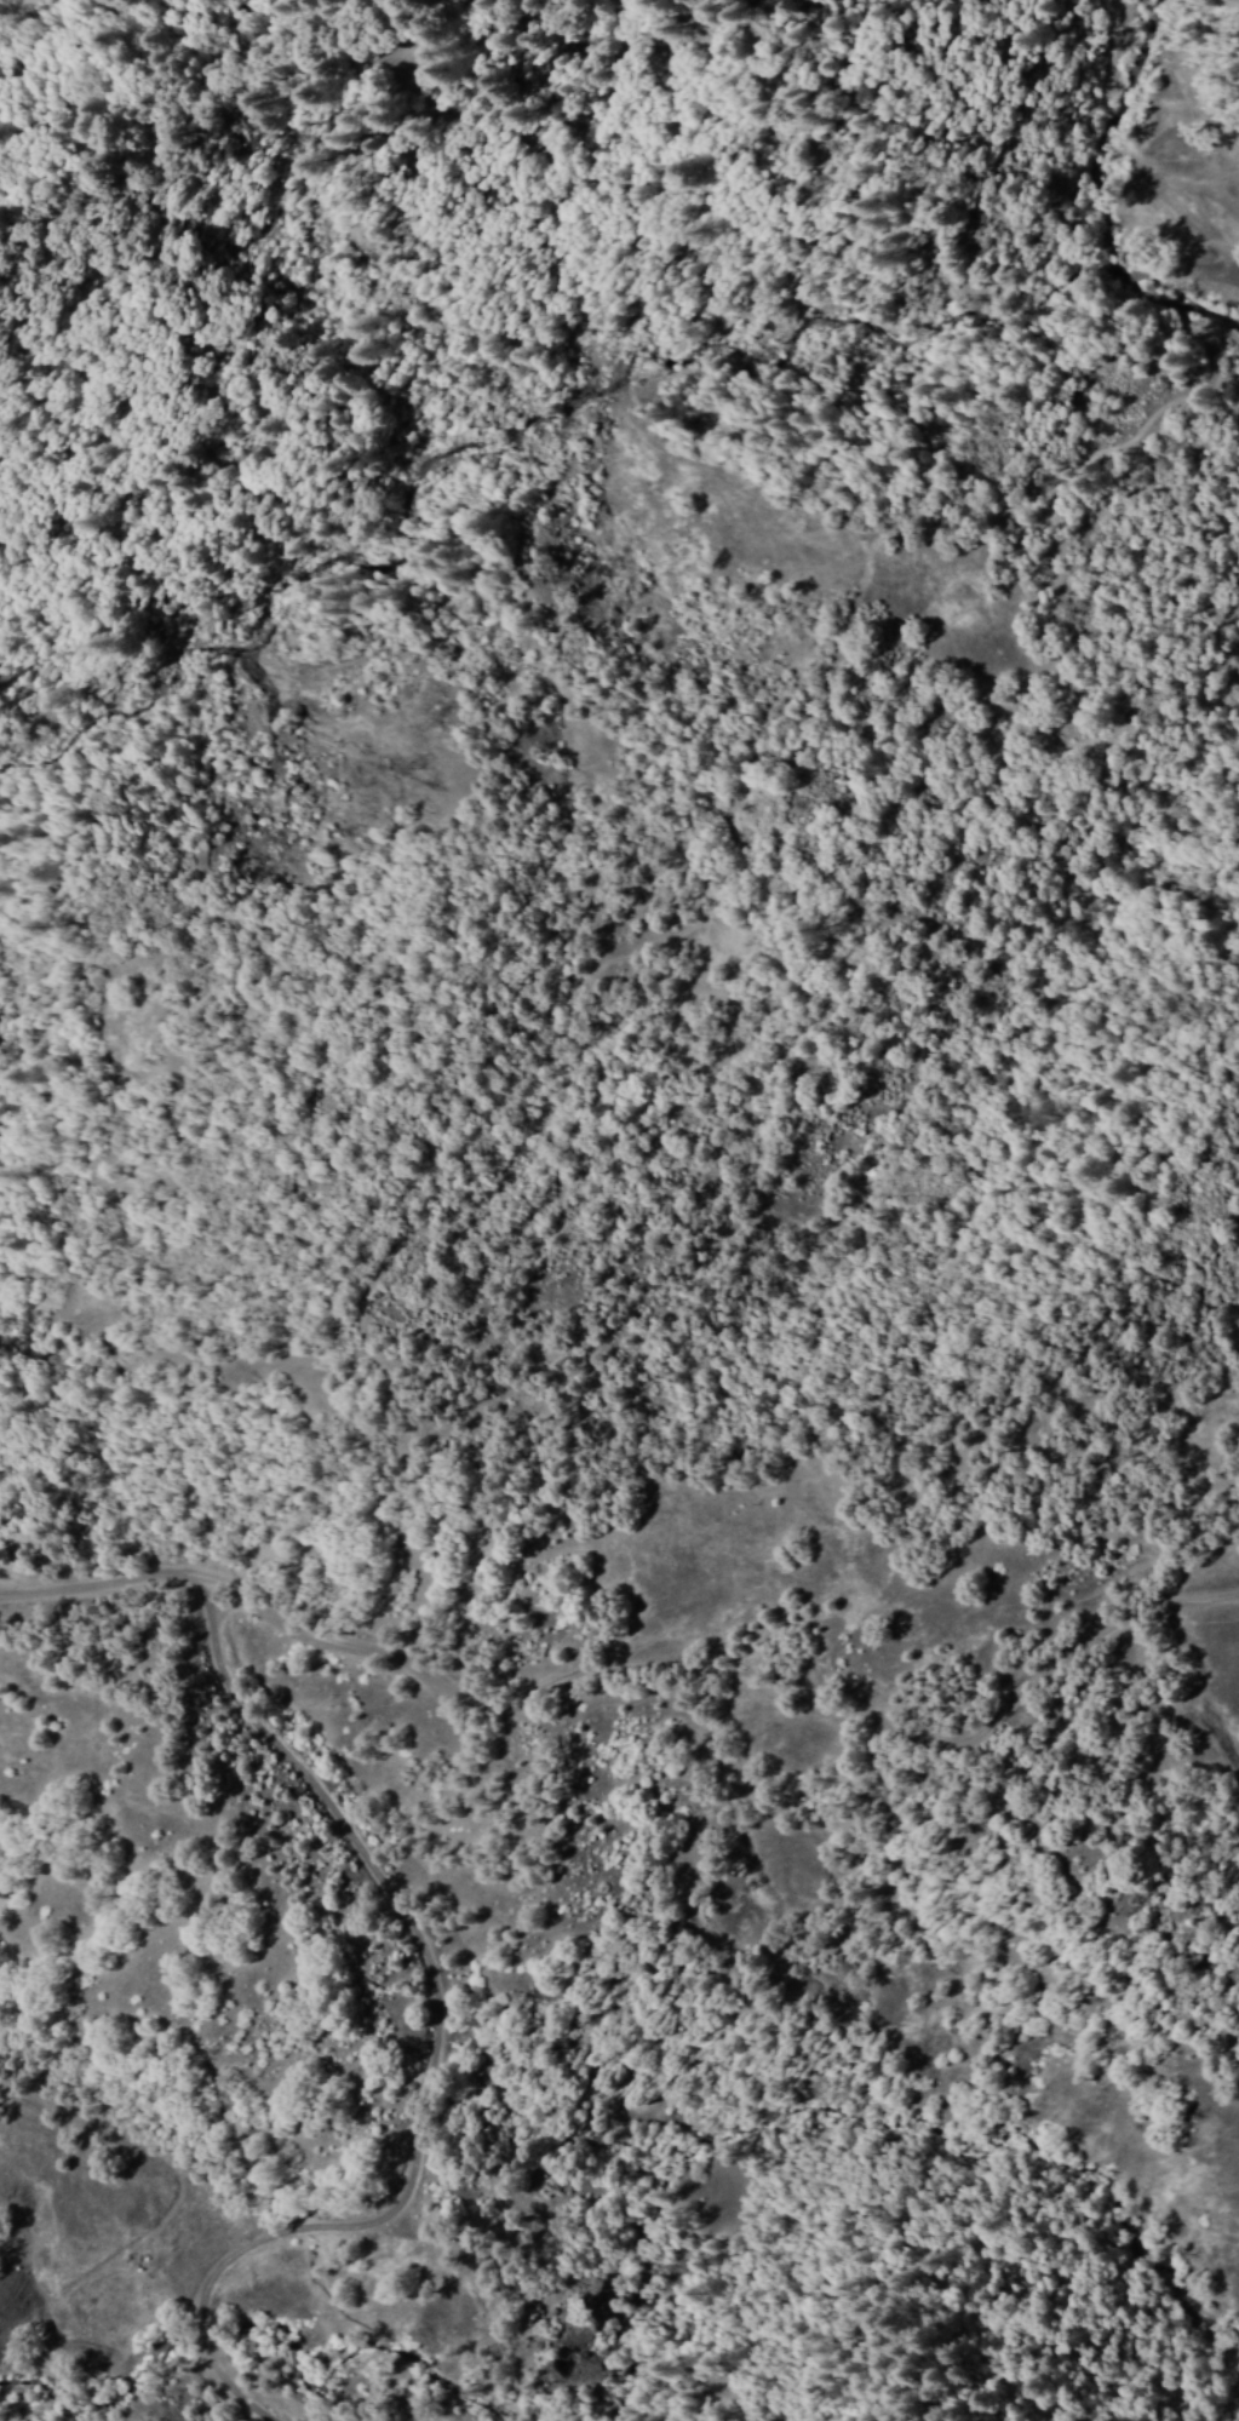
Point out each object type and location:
road: (18, 13)
road: (1118, 47)
road: (1157, 179)
road: (620, 1675)

